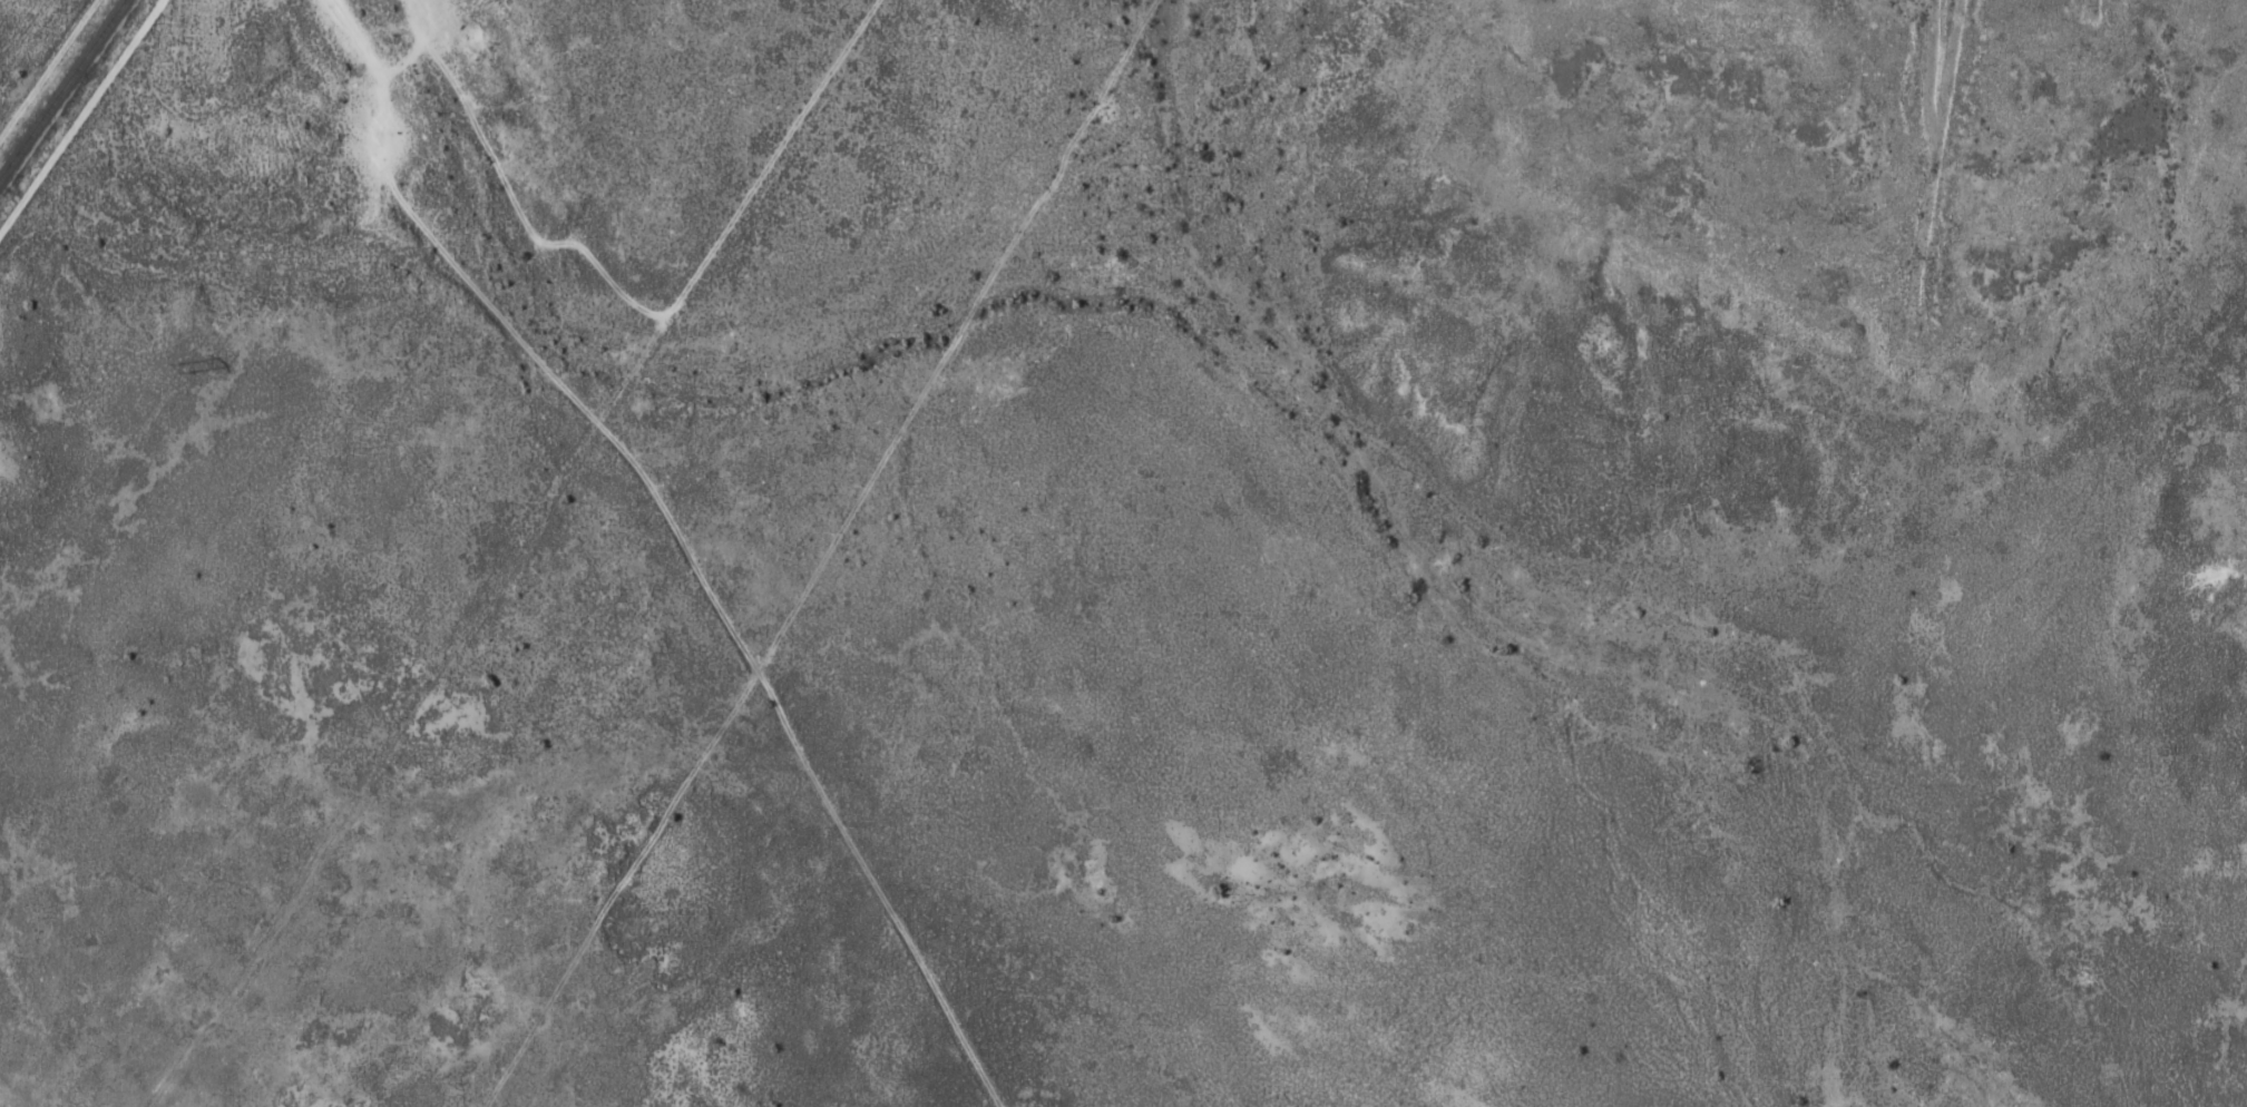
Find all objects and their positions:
railway: (62, 88)
power tower: (184, 364)
road: (668, 533)

